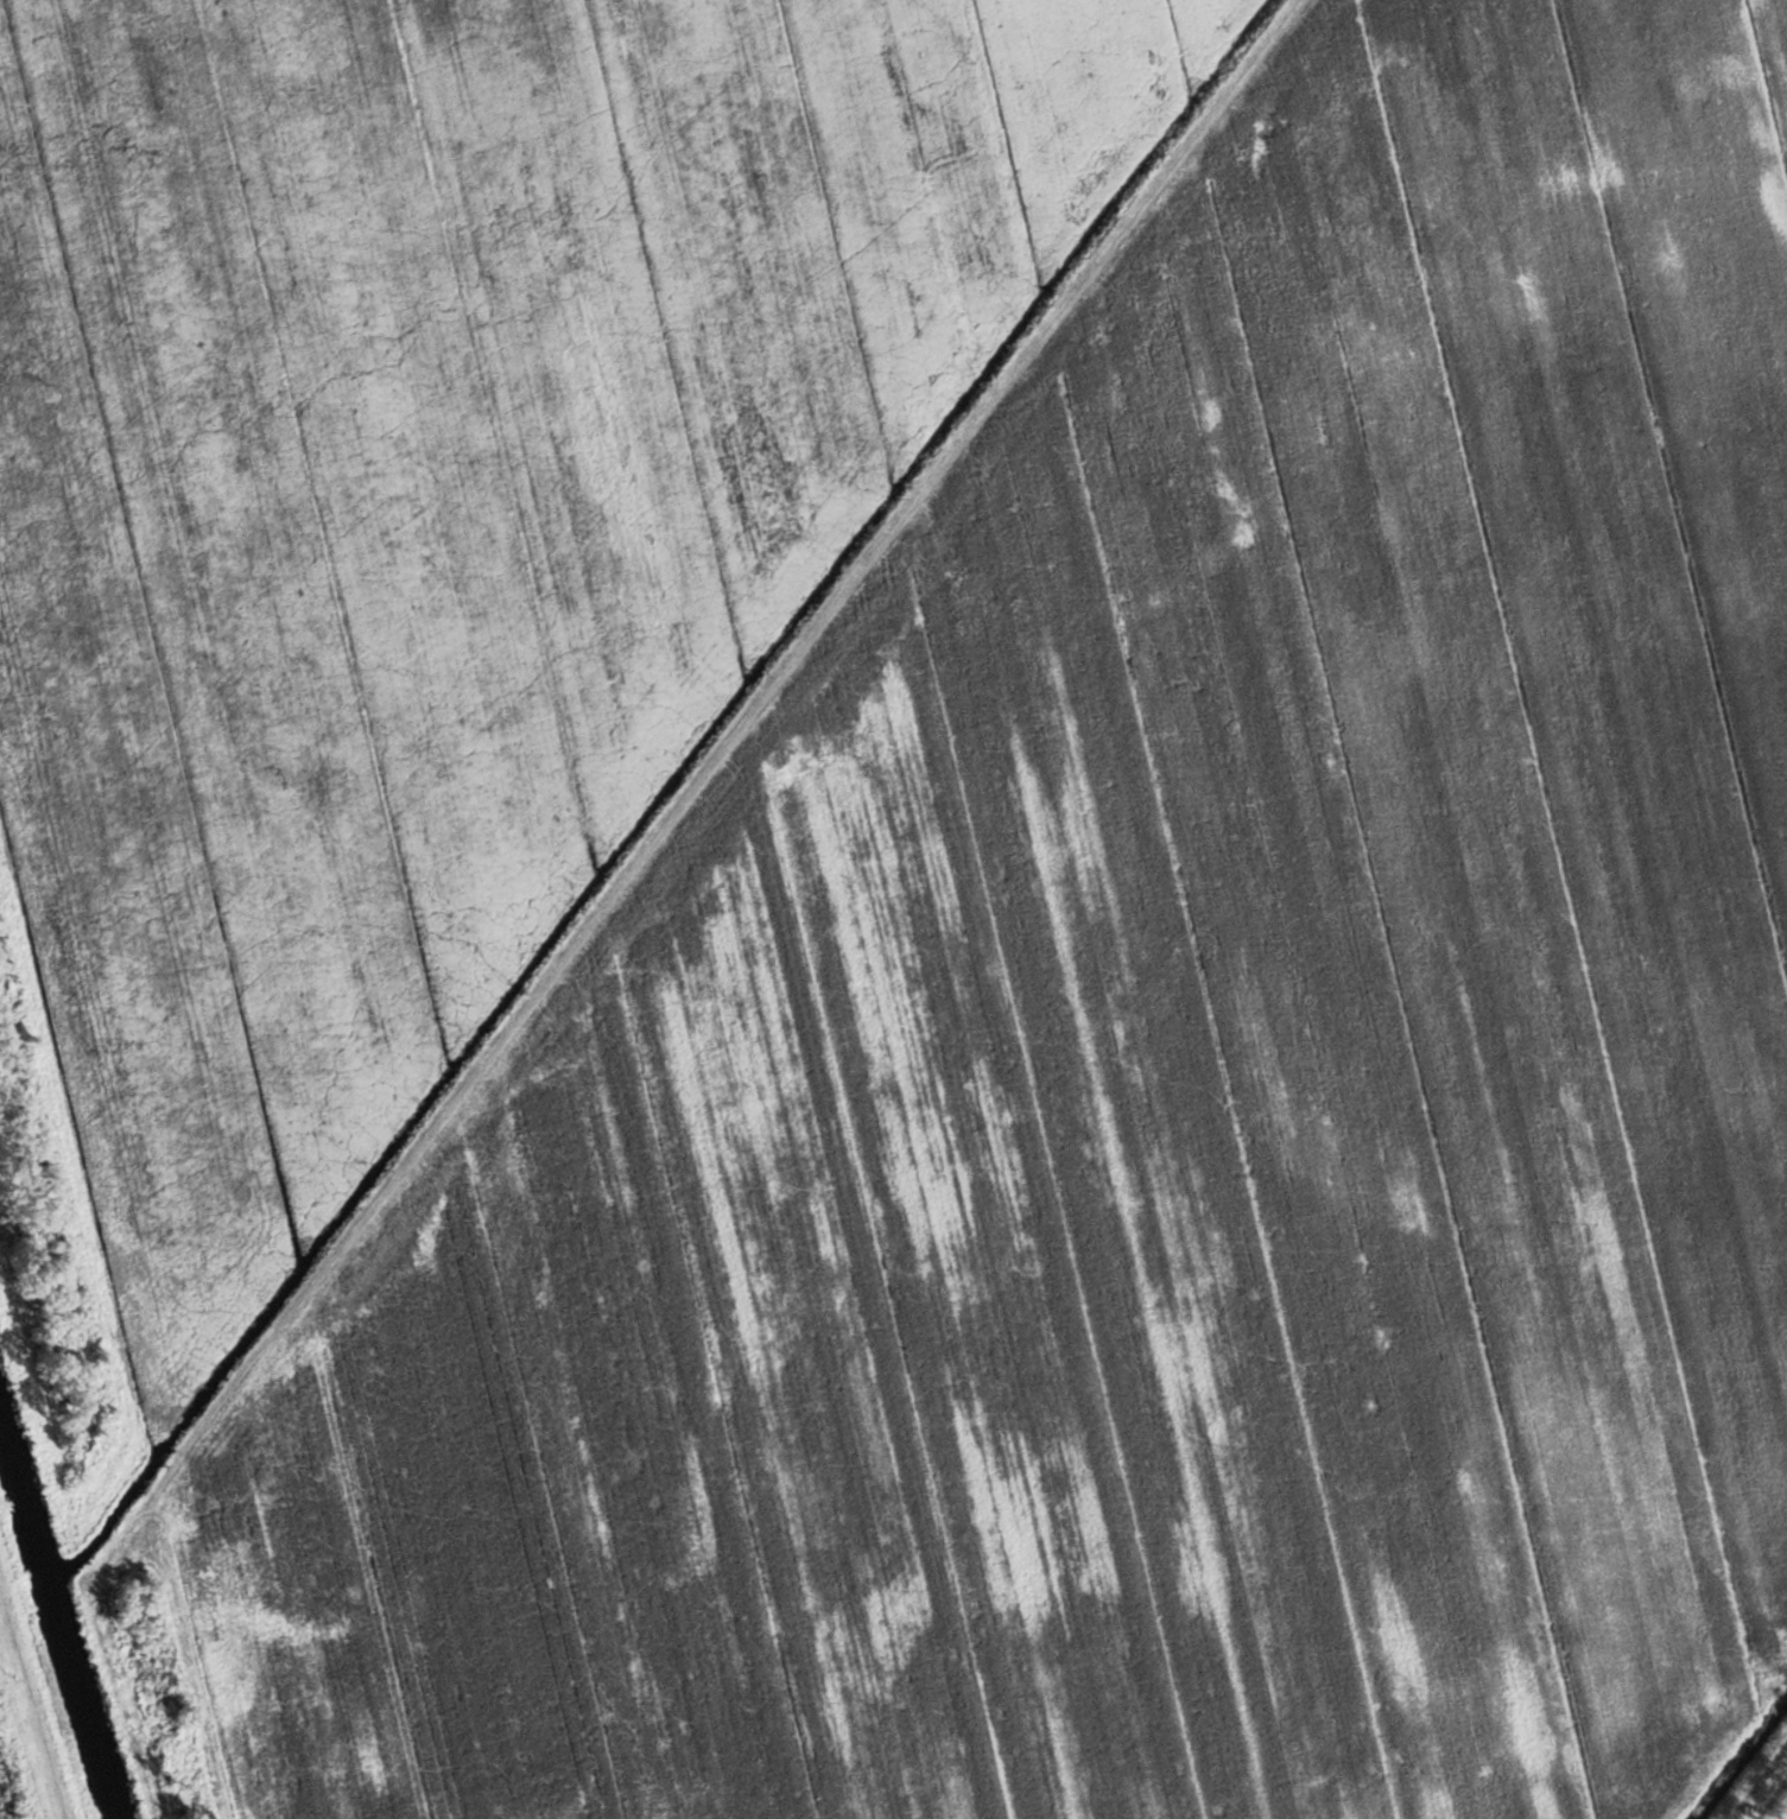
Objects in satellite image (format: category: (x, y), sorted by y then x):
crop: (443, 499)
road: (748, 718)
crop: (1153, 1071)
road: (31, 1704)

